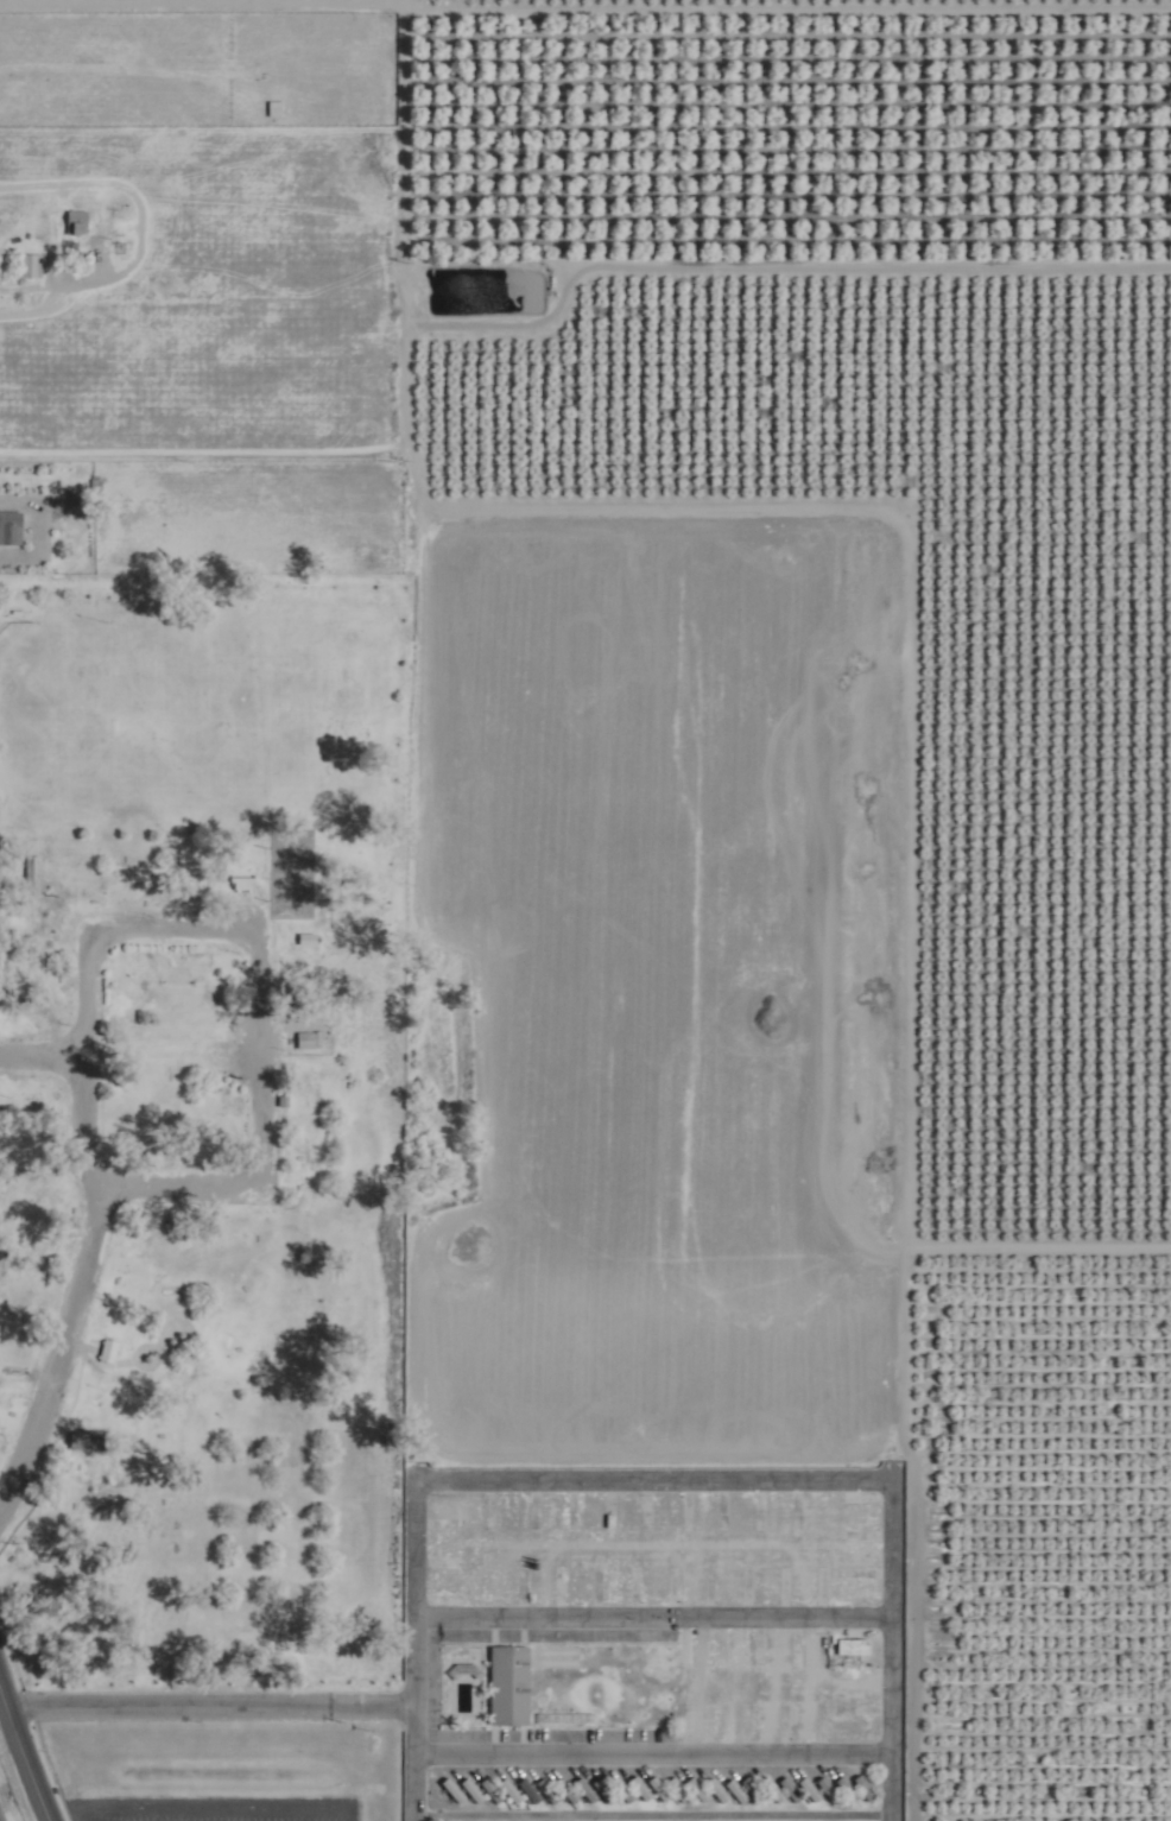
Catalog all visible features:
building: (82, 222)
road: (113, 247)
building: (33, 265)
building: (178, 289)
road: (653, 521)
building: (13, 527)
crop: (739, 716)
building: (36, 872)
building: (246, 885)
road: (253, 936)
building: (179, 1058)
park: (201, 1199)
building: (112, 1352)
road: (61, 1354)
building: (93, 1440)
road: (714, 1478)
building: (511, 1686)
road: (210, 1701)
road: (24, 1757)
road: (419, 1762)
building: (677, 1787)
building: (643, 1789)
building: (774, 1790)
building: (812, 1790)
building: (739, 1792)

